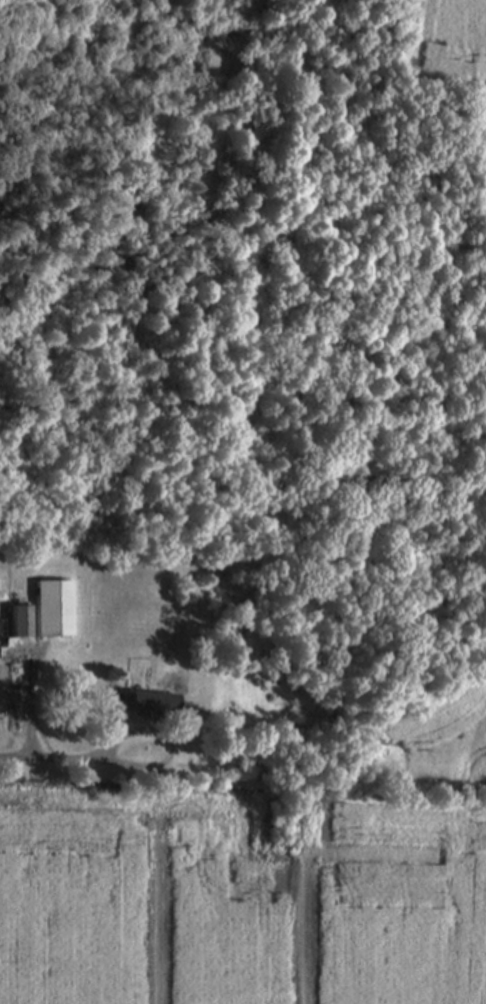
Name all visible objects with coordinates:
building: (54, 610)
building: (20, 623)
building: (151, 705)
road: (165, 742)
road: (47, 752)

